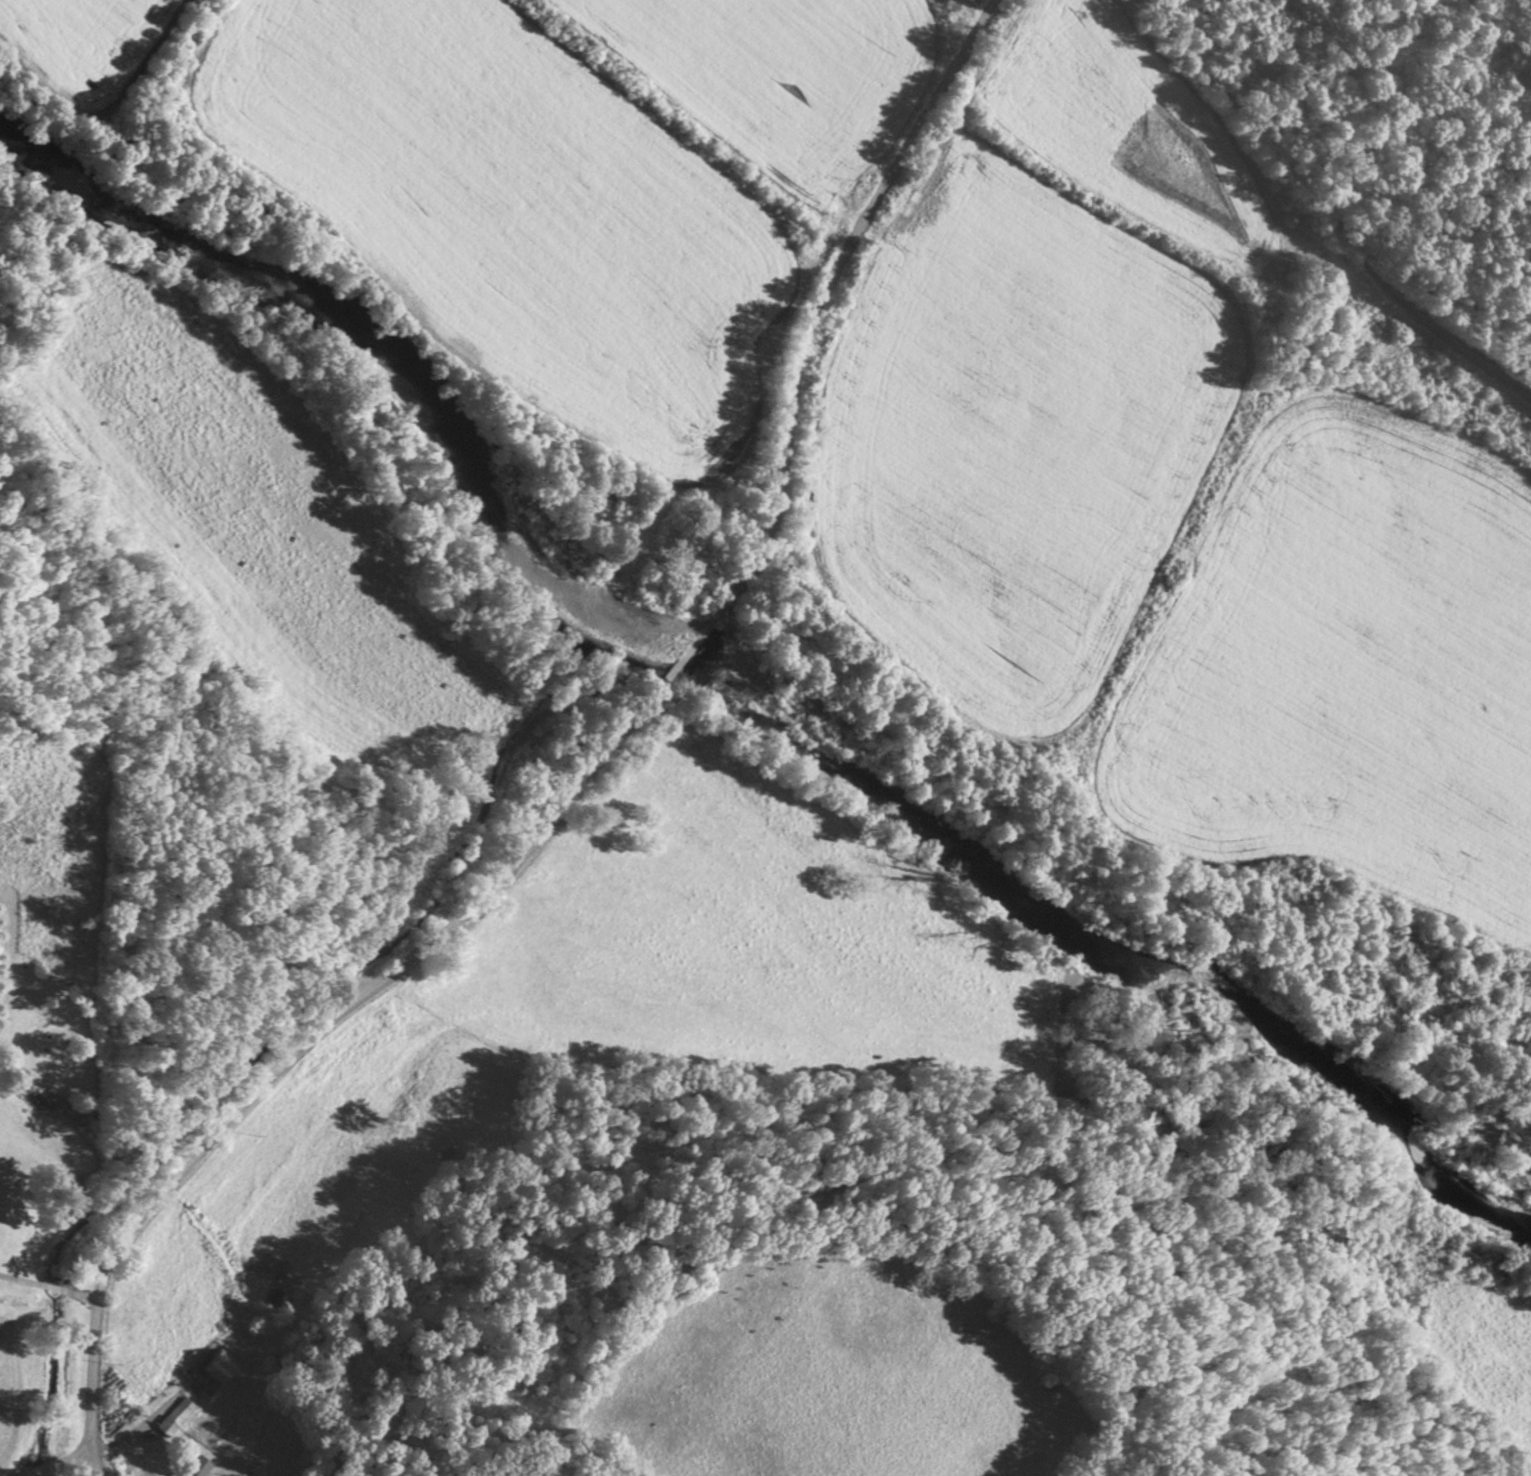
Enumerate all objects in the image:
building: (970, 1)
road: (1320, 208)
road: (823, 290)
road: (692, 648)
road: (278, 1053)
road: (53, 1285)
building: (221, 1366)
building: (178, 1416)
road: (95, 1461)
building: (198, 1466)

